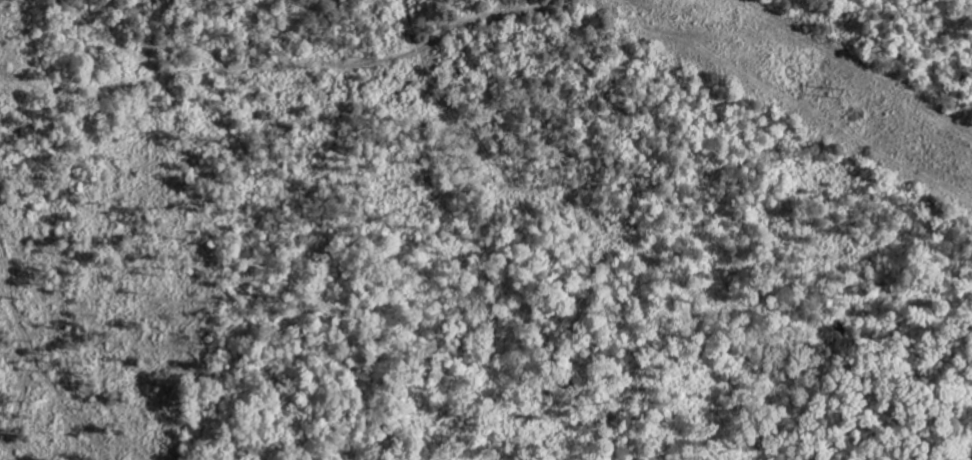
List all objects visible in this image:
power tower: (836, 90)

